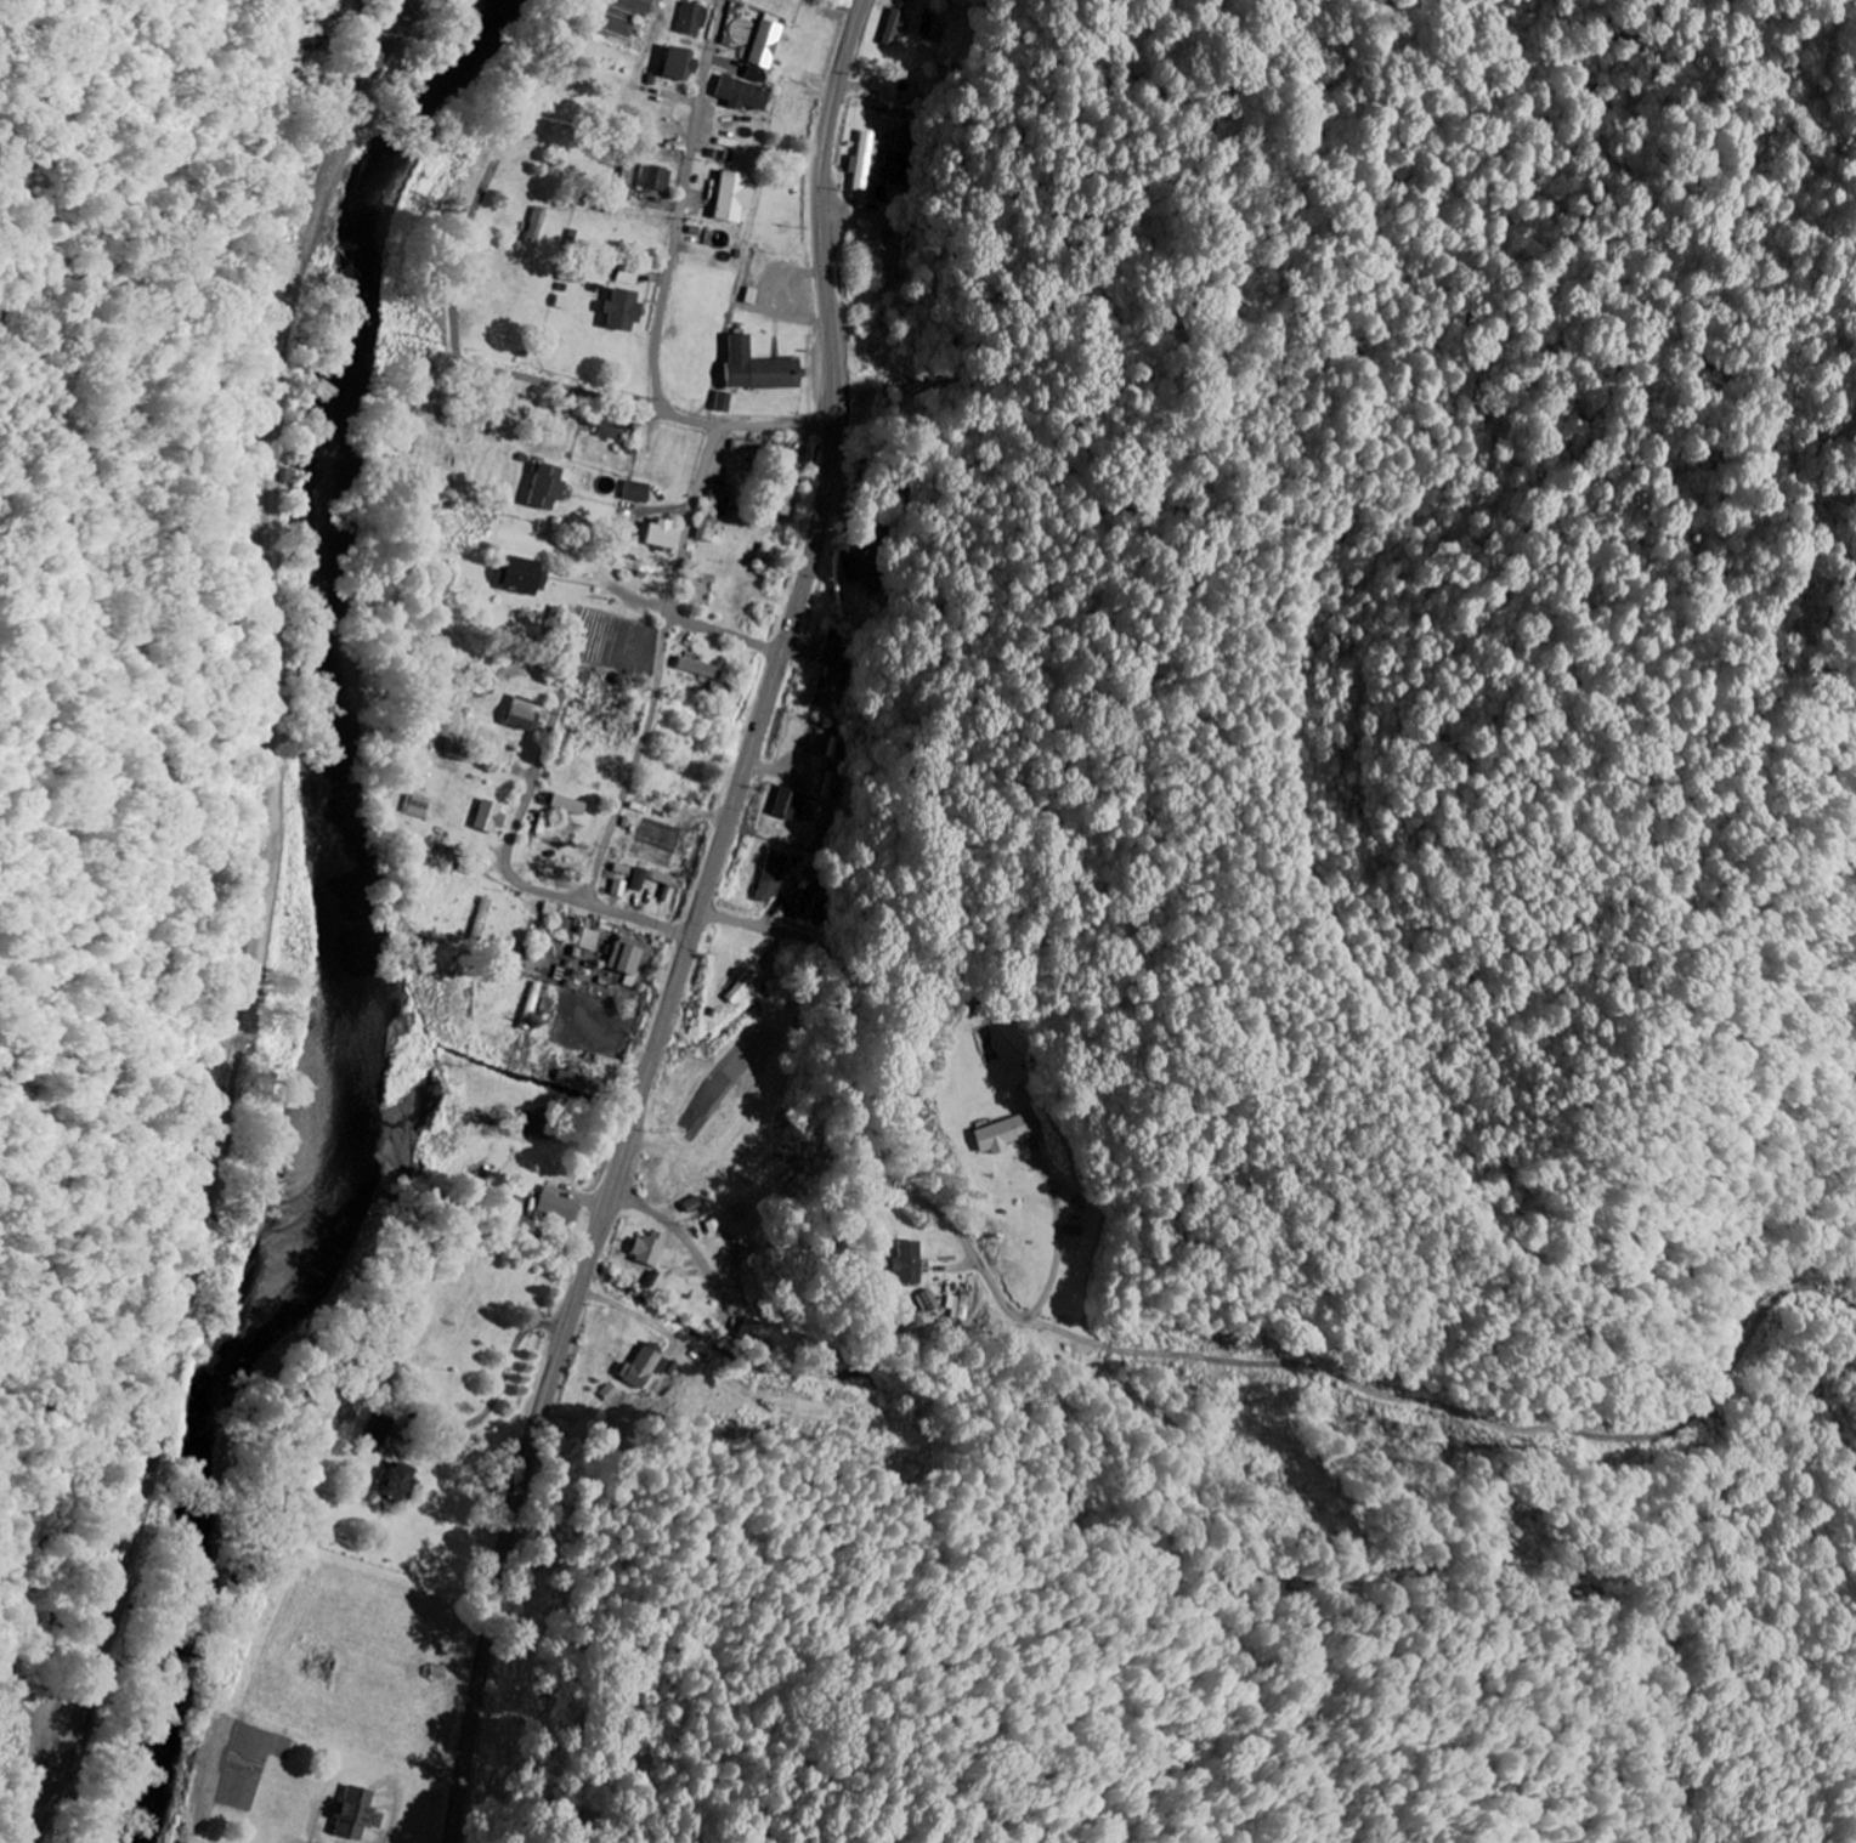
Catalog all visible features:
building: (696, 18)
building: (896, 25)
building: (768, 50)
building: (681, 62)
building: (747, 92)
building: (868, 159)
building: (658, 176)
building: (736, 195)
road: (690, 205)
building: (541, 225)
road: (464, 268)
building: (575, 273)
building: (632, 276)
building: (624, 308)
building: (763, 367)
road: (577, 382)
building: (728, 401)
road: (753, 425)
building: (612, 427)
building: (764, 448)
building: (549, 486)
building: (796, 488)
building: (640, 490)
building: (715, 515)
building: (666, 533)
building: (646, 567)
building: (526, 574)
road: (732, 634)
road: (667, 667)
building: (705, 668)
building: (837, 690)
building: (526, 714)
building: (571, 804)
building: (793, 804)
building: (418, 805)
building: (492, 816)
road: (522, 824)
road: (278, 854)
building: (777, 874)
building: (644, 878)
railway: (250, 920)
road: (644, 920)
road: (701, 924)
river: (358, 940)
building: (593, 940)
building: (632, 958)
building: (1011, 1132)
road: (872, 1153)
building: (697, 1203)
building: (562, 1204)
building: (652, 1248)
building: (907, 1260)
building: (927, 1300)
building: (757, 1331)
building: (644, 1365)
building: (613, 1391)
building: (380, 1431)
building: (400, 1482)
road: (81, 1762)
building: (357, 1813)
road: (77, 1835)

